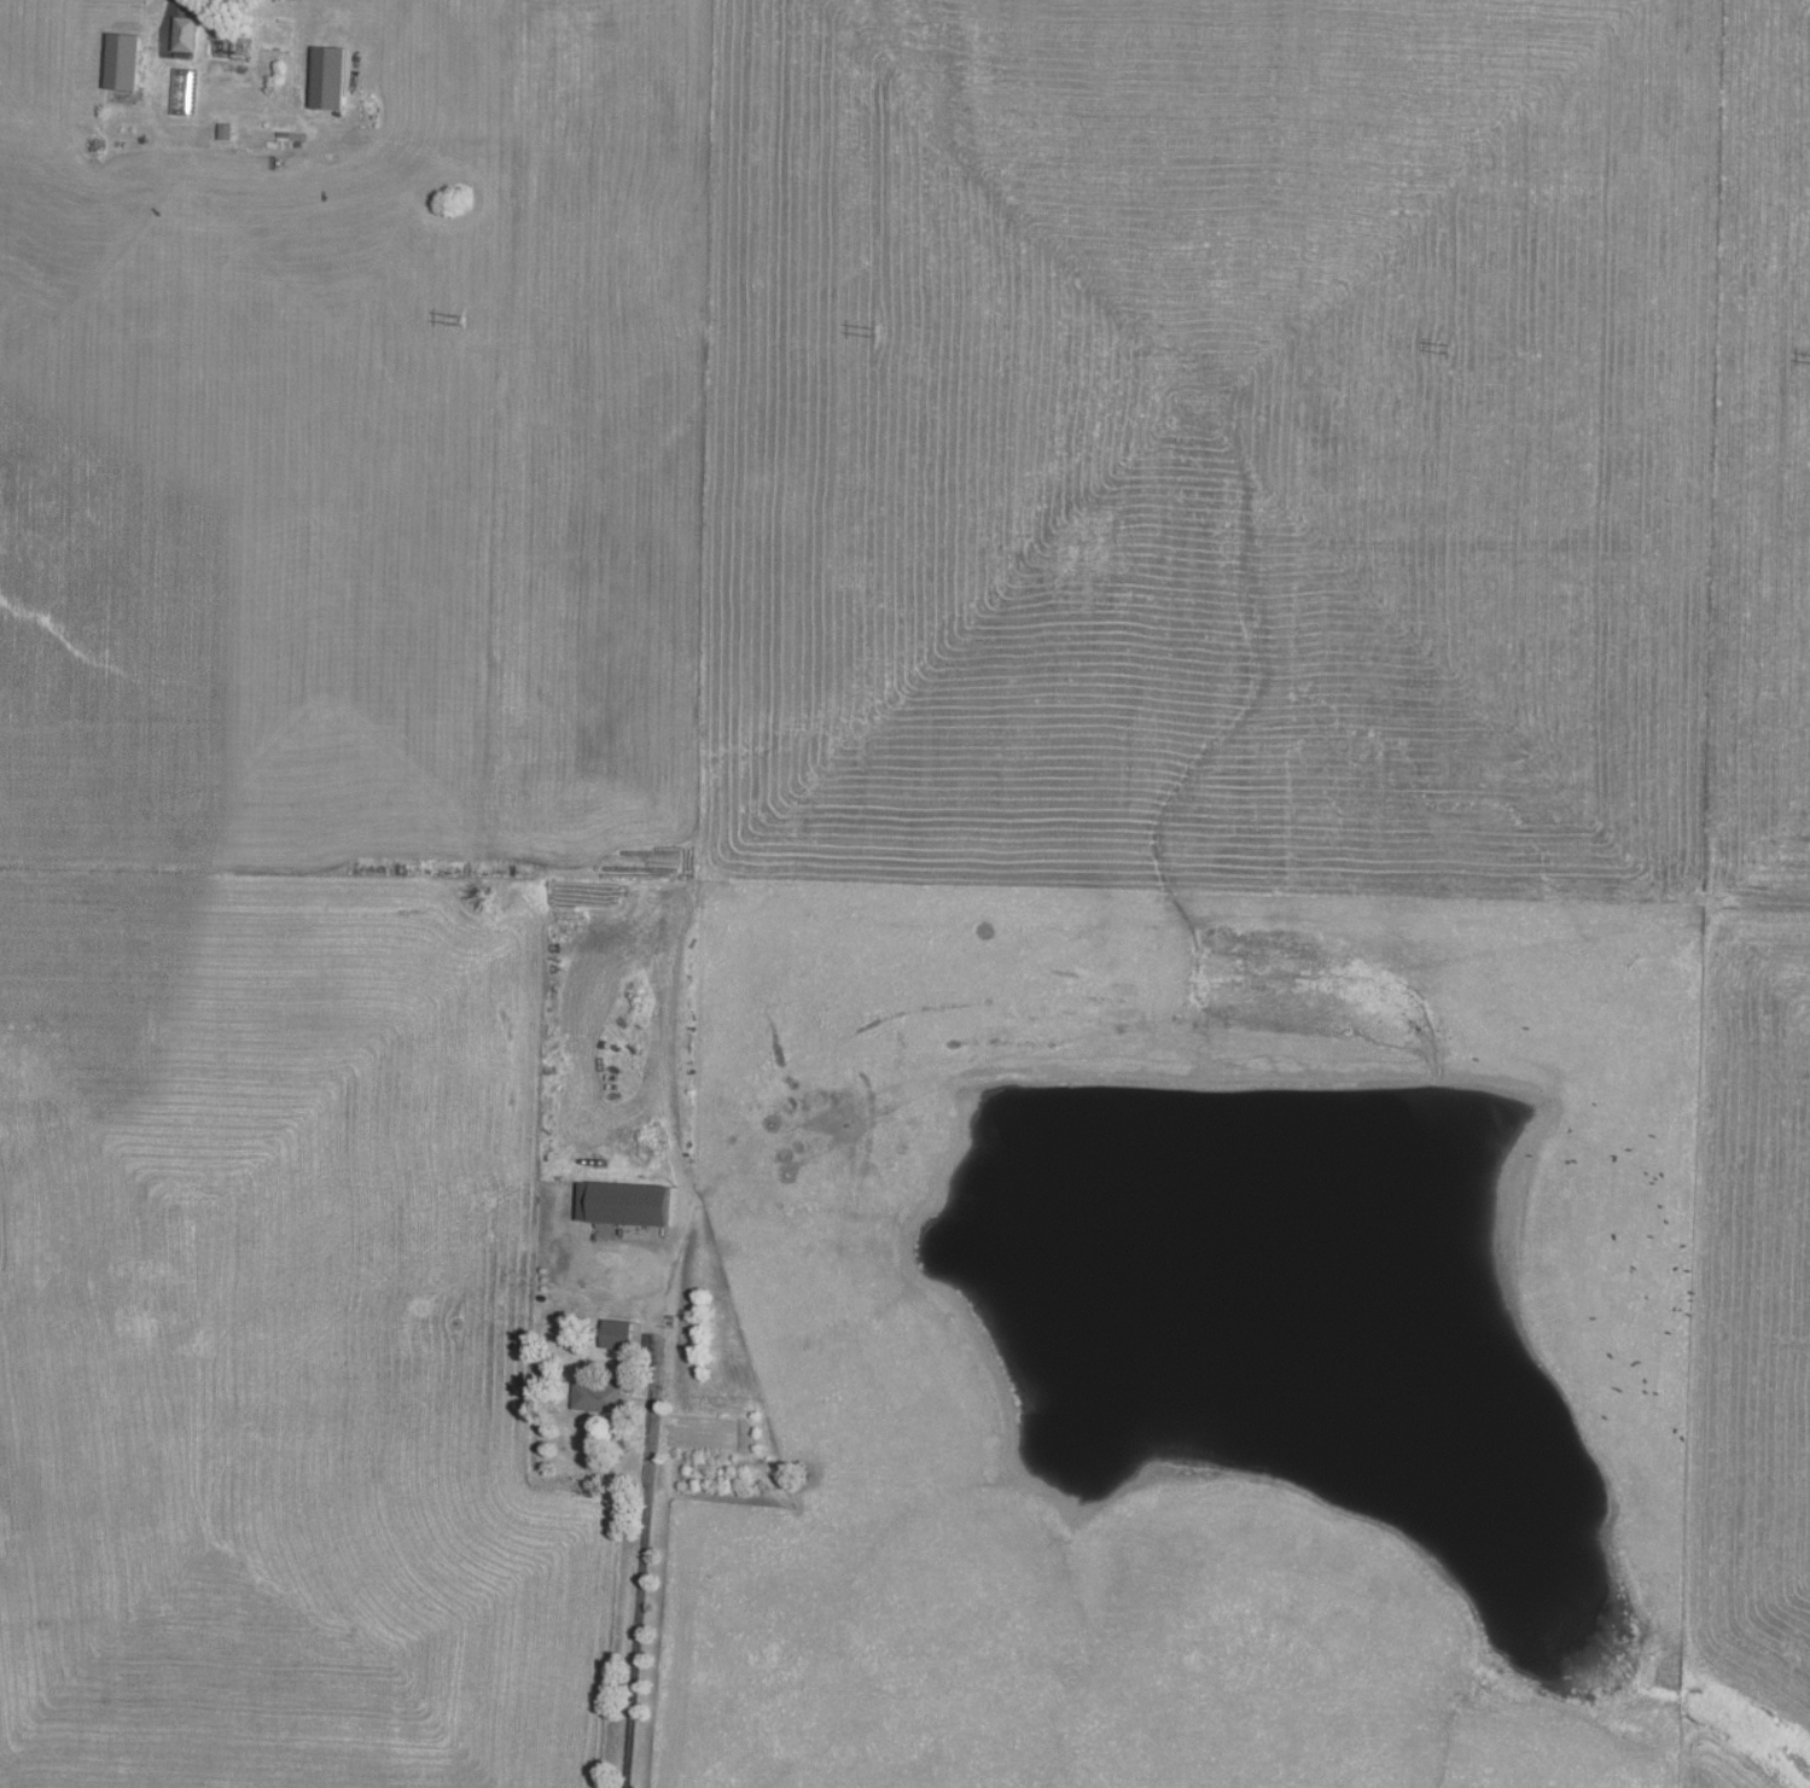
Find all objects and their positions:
road: (164, 24)
road: (303, 24)
building: (185, 33)
building: (123, 60)
building: (328, 76)
building: (182, 91)
building: (226, 130)
power tower: (460, 320)
power tower: (869, 330)
power tower: (1451, 349)
building: (625, 1202)
building: (618, 1334)
building: (599, 1397)
road: (641, 1559)

